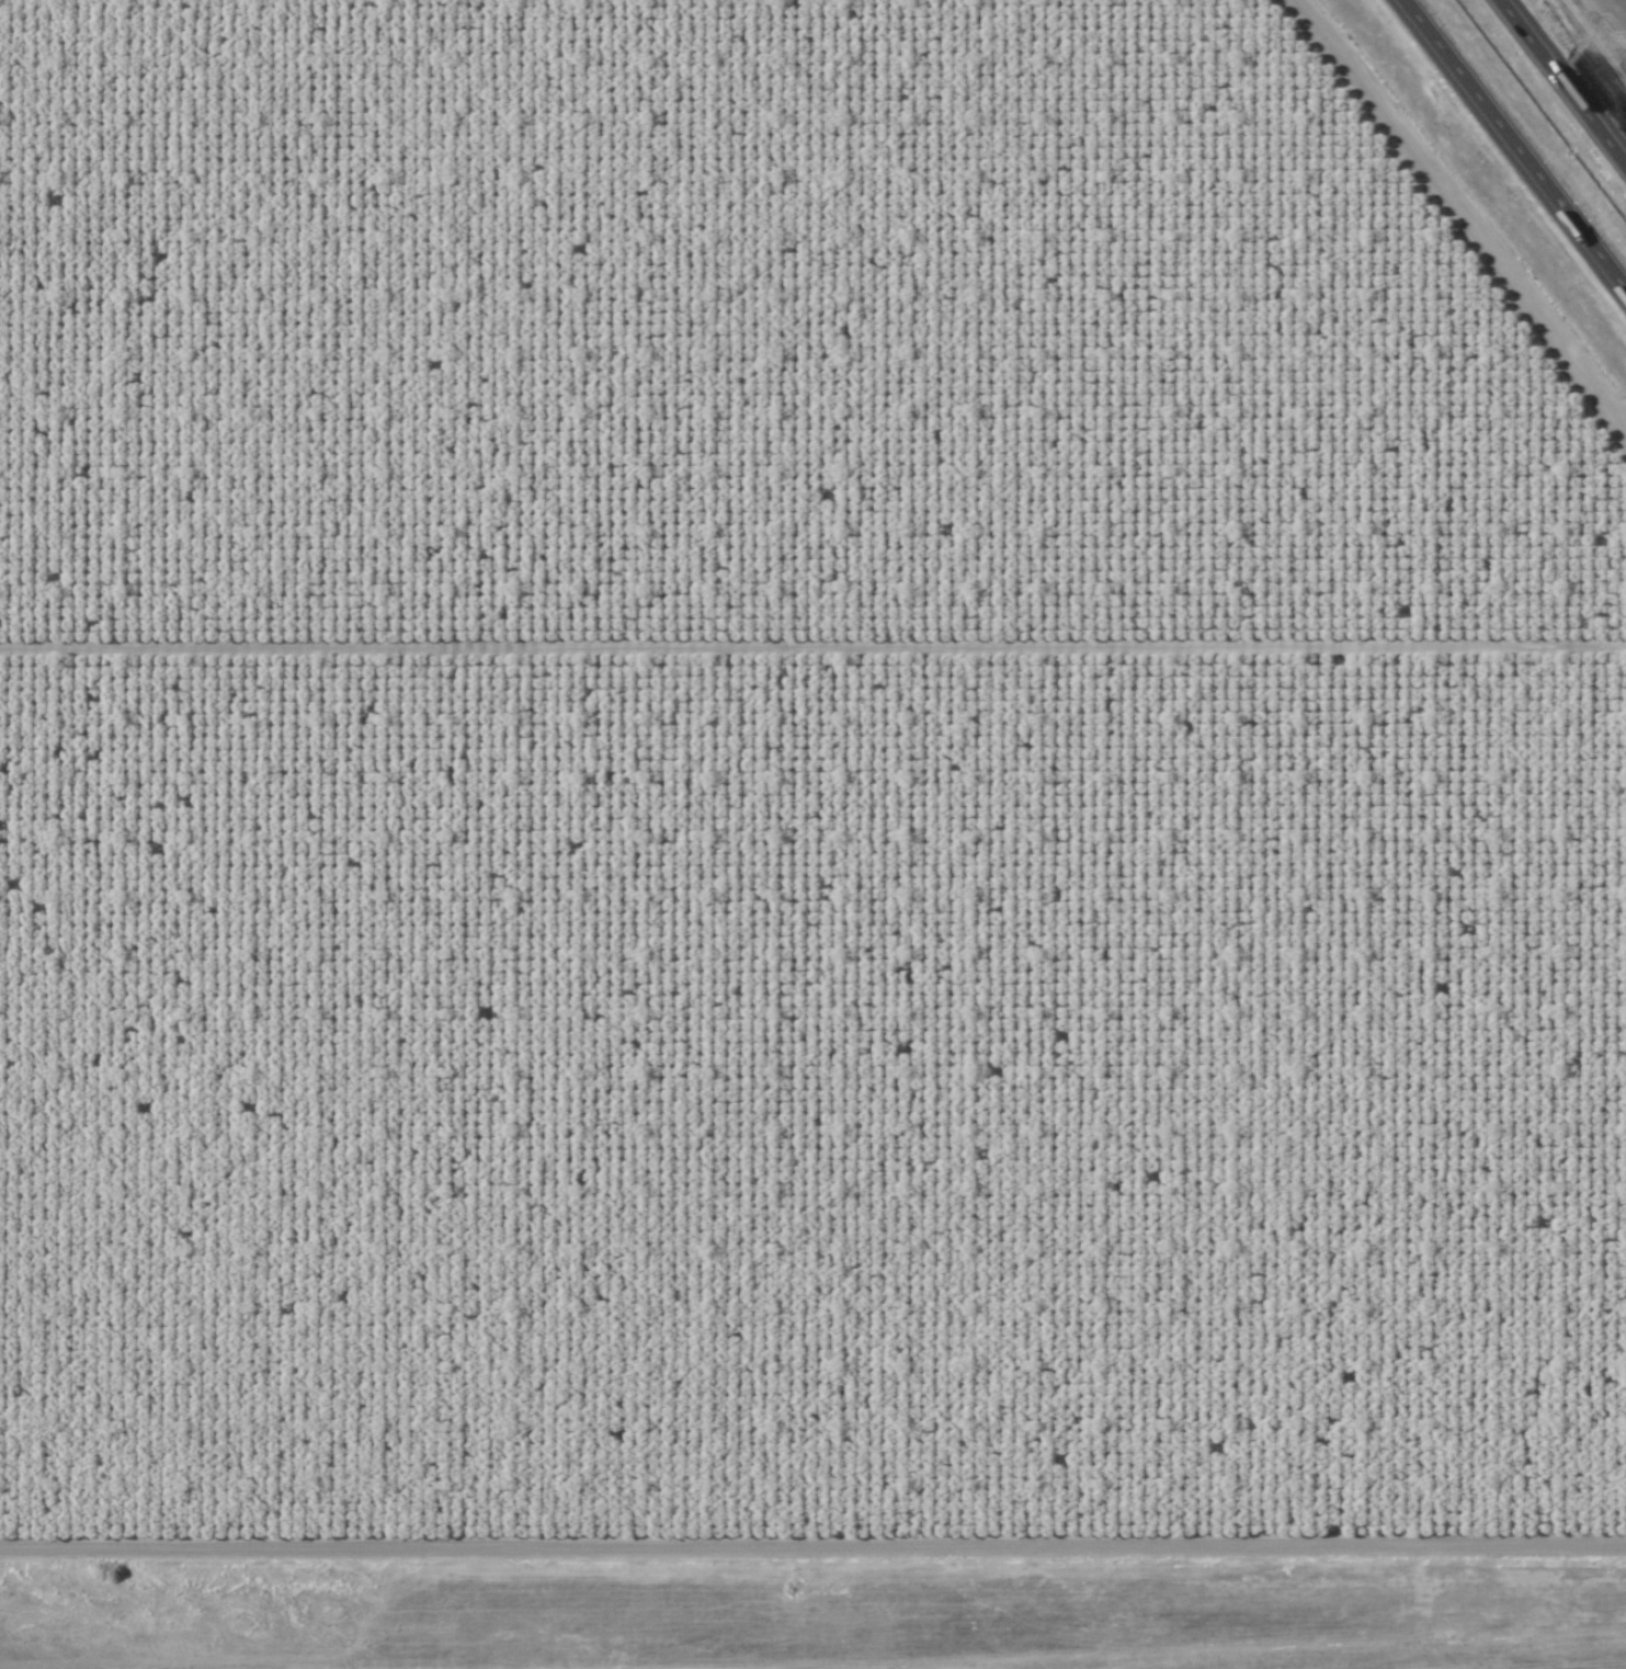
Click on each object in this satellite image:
road: (1590, 46)
road: (1564, 80)
road: (1513, 146)
crop: (792, 795)
road: (812, 1525)

